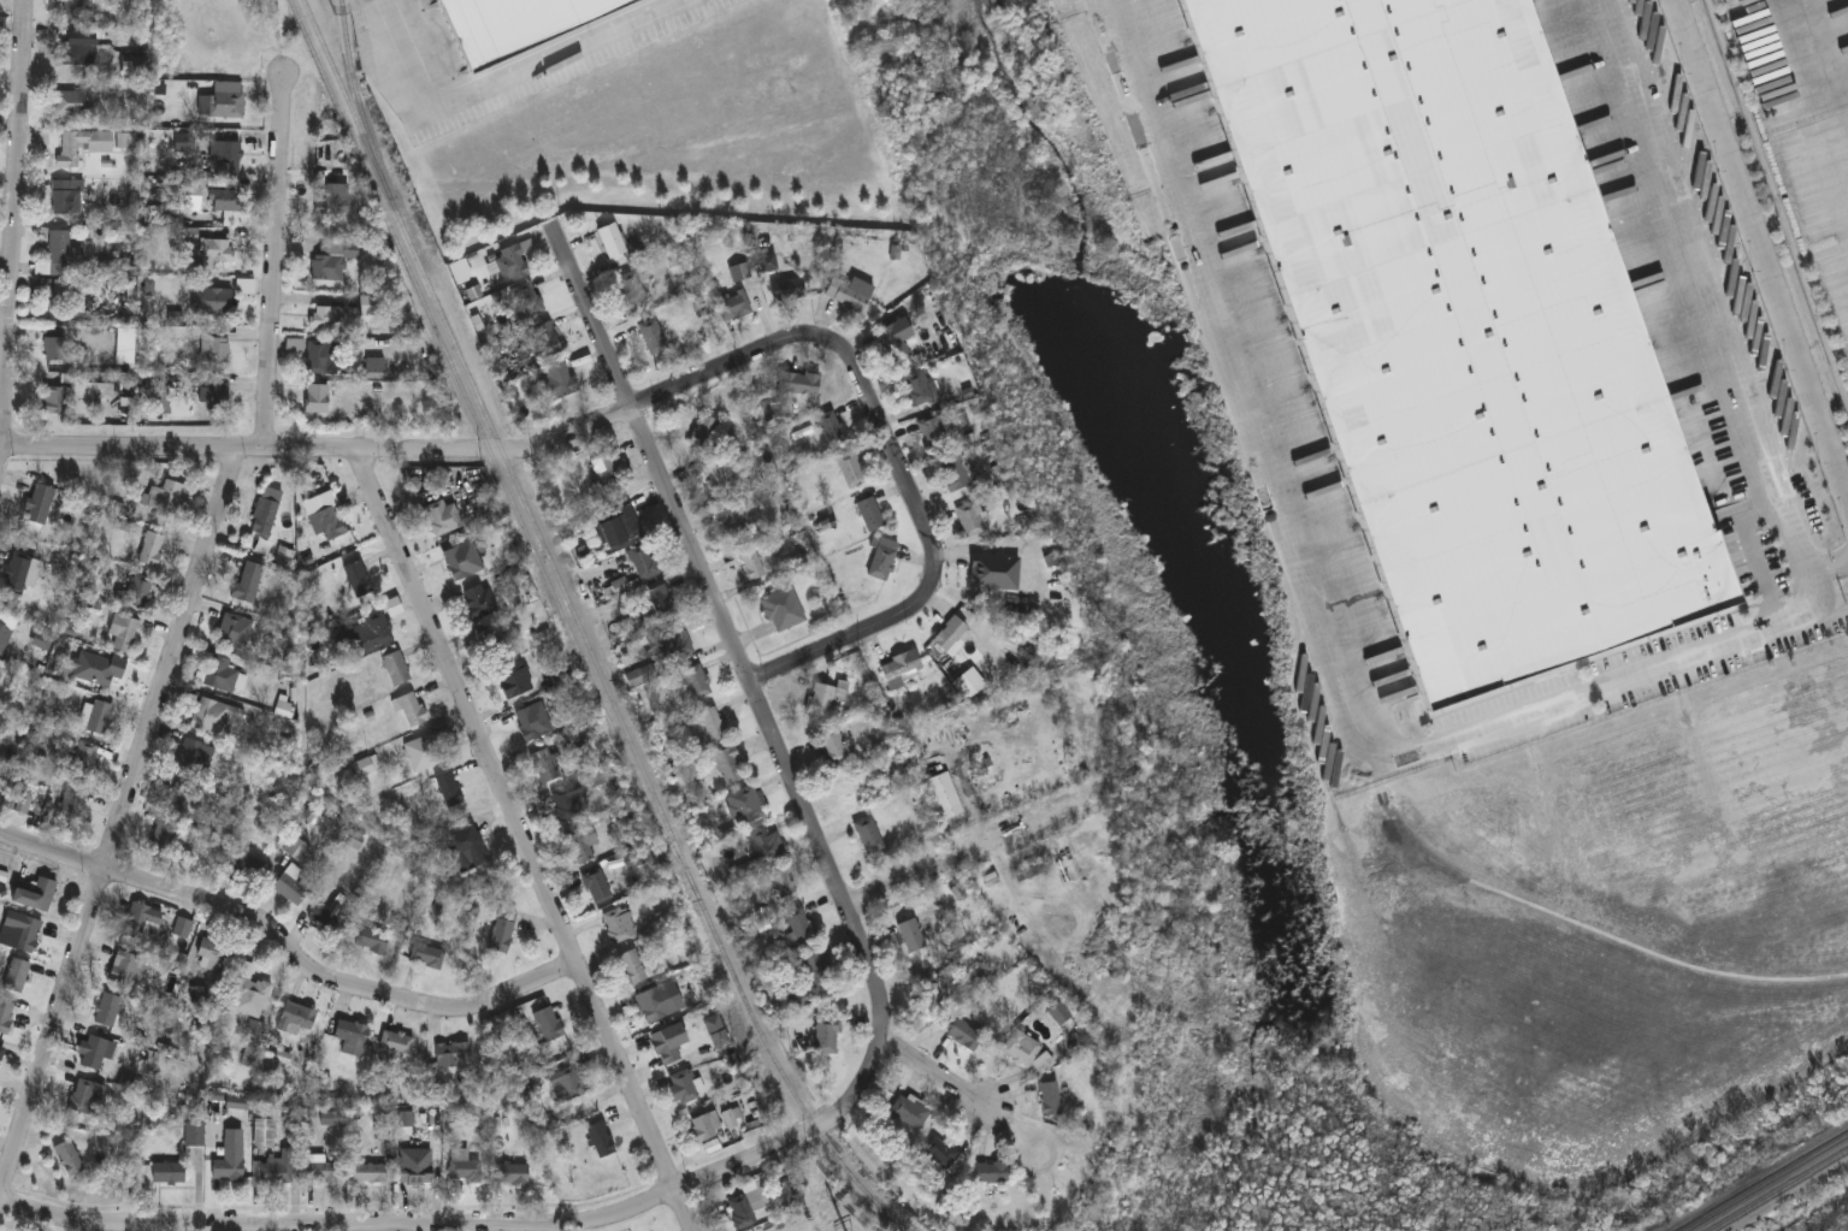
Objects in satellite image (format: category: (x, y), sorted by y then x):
building: (73, 11)
building: (519, 25)
building: (76, 49)
building: (132, 71)
road: (509, 82)
road: (1818, 85)
railway: (355, 91)
building: (72, 106)
building: (225, 107)
building: (81, 148)
building: (230, 155)
building: (66, 199)
building: (224, 202)
building: (331, 203)
road: (1764, 239)
building: (613, 243)
road: (26, 253)
building: (215, 254)
building: (59, 256)
road: (274, 260)
building: (331, 261)
building: (512, 266)
building: (631, 291)
building: (850, 296)
building: (66, 298)
building: (527, 302)
building: (220, 303)
building: (734, 309)
building: (327, 320)
building: (1460, 329)
building: (653, 338)
building: (542, 343)
building: (892, 344)
building: (214, 353)
building: (53, 355)
building: (318, 359)
building: (374, 371)
building: (557, 384)
building: (798, 386)
building: (920, 390)
building: (158, 397)
building: (213, 401)
building: (315, 402)
building: (52, 404)
building: (831, 431)
building: (704, 434)
building: (933, 434)
railway: (485, 439)
road: (324, 450)
road: (897, 451)
building: (603, 470)
building: (850, 472)
building: (722, 475)
building: (952, 477)
building: (165, 499)
building: (40, 504)
building: (265, 513)
building: (324, 516)
building: (869, 516)
building: (442, 519)
building: (734, 520)
building: (969, 521)
building: (622, 522)
building: (149, 550)
building: (882, 561)
building: (456, 564)
building: (642, 564)
building: (750, 564)
road: (1841, 568)
road: (1820, 573)
building: (19, 574)
building: (981, 574)
building: (356, 580)
building: (247, 584)
building: (621, 588)
building: (135, 596)
building: (473, 604)
building: (661, 604)
building: (783, 611)
road: (728, 627)
railway: (583, 628)
building: (234, 632)
building: (370, 633)
building: (123, 634)
building: (950, 635)
building: (671, 645)
building: (492, 647)
building: (95, 669)
building: (395, 670)
building: (899, 670)
building: (0, 677)
building: (220, 677)
building: (513, 681)
building: (696, 682)
building: (828, 700)
building: (411, 711)
road: (1527, 712)
building: (96, 717)
building: (213, 718)
building: (532, 723)
building: (713, 726)
building: (833, 748)
building: (424, 754)
building: (193, 759)
building: (81, 761)
building: (545, 767)
building: (362, 768)
building: (728, 768)
building: (448, 791)
building: (946, 798)
building: (177, 799)
building: (71, 803)
building: (567, 803)
building: (744, 807)
road: (120, 821)
building: (869, 838)
building: (160, 840)
road: (526, 840)
building: (581, 845)
building: (767, 847)
building: (465, 848)
building: (296, 850)
road: (960, 858)
building: (247, 866)
building: (290, 887)
building: (785, 887)
building: (597, 888)
building: (35, 896)
building: (327, 918)
building: (140, 921)
building: (619, 925)
building: (801, 928)
building: (182, 929)
building: (503, 931)
building: (19, 933)
building: (914, 936)
building: (370, 941)
road: (288, 948)
building: (212, 957)
building: (426, 957)
building: (631, 967)
building: (125, 970)
building: (817, 970)
building: (16, 976)
building: (248, 995)
building: (932, 995)
building: (799, 1001)
building: (651, 1006)
building: (107, 1011)
building: (297, 1018)
building: (548, 1025)
building: (827, 1036)
building: (966, 1036)
building: (352, 1038)
building: (254, 1041)
building: (396, 1044)
building: (668, 1044)
building: (1021, 1049)
building: (96, 1054)
building: (453, 1055)
road: (934, 1072)
building: (572, 1084)
building: (681, 1088)
building: (87, 1099)
building: (1050, 1100)
building: (909, 1113)
building: (732, 1119)
building: (705, 1128)
building: (264, 1135)
building: (194, 1136)
building: (600, 1141)
building: (943, 1156)
building: (229, 1159)
building: (69, 1160)
building: (464, 1170)
building: (274, 1173)
building: (320, 1173)
building: (992, 1174)
building: (167, 1176)
building: (368, 1176)
building: (415, 1176)
building: (512, 1176)
railway: (1767, 1184)
railway: (1779, 1190)
building: (748, 1208)
road: (473, 1226)

